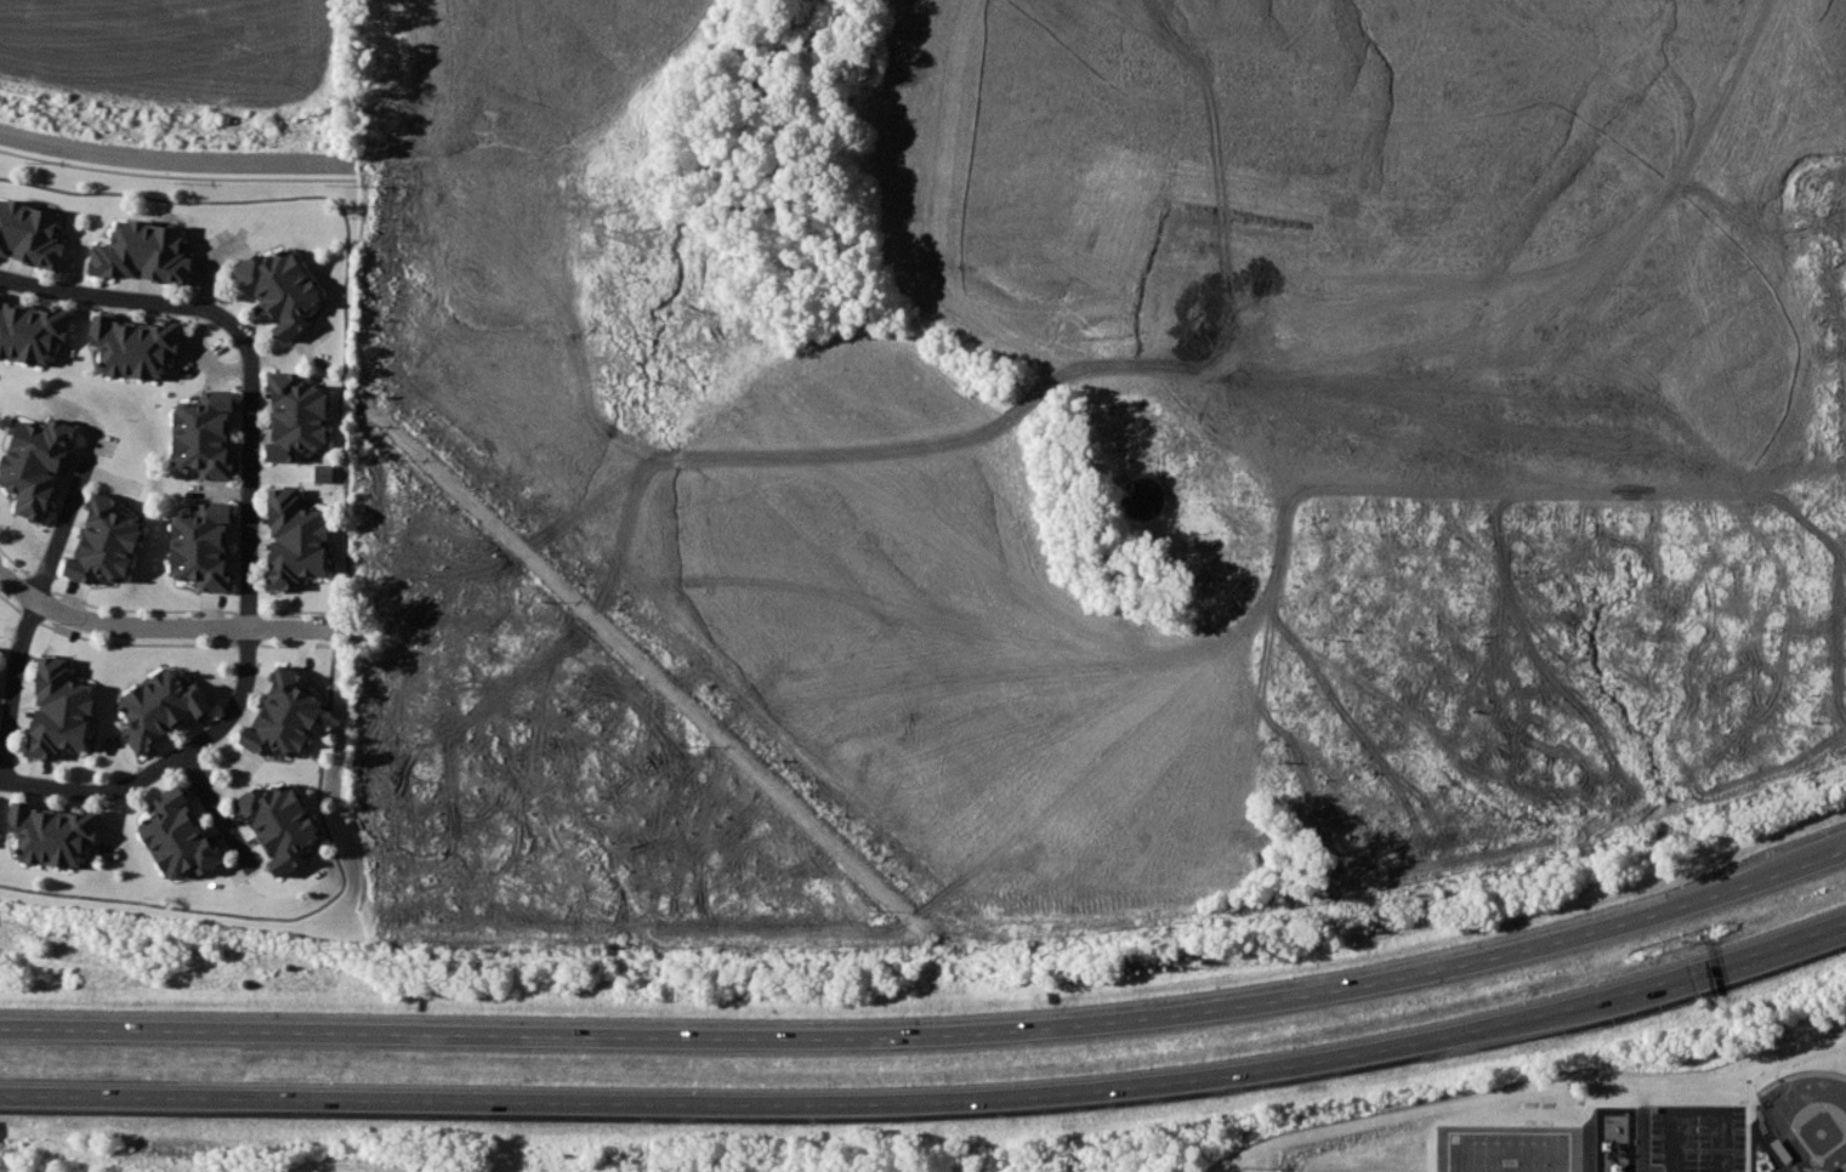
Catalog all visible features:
road: (172, 158)
road: (175, 175)
building: (29, 238)
building: (142, 256)
building: (280, 291)
building: (0, 297)
road: (123, 300)
building: (30, 334)
building: (131, 347)
building: (294, 419)
building: (201, 433)
building: (34, 463)
building: (323, 472)
building: (292, 541)
building: (102, 542)
building: (200, 544)
road: (249, 553)
road: (342, 553)
road: (25, 626)
road: (170, 627)
building: (160, 706)
building: (58, 712)
building: (283, 715)
road: (98, 793)
road: (225, 820)
building: (279, 825)
building: (52, 834)
building: (178, 837)
road: (1841, 926)
road: (933, 1039)
road: (1524, 1087)
road: (932, 1103)
park: (1808, 1116)
road: (1697, 1119)
road: (1746, 1120)
parking lot: (1698, 1138)
park: (1507, 1148)
road: (340, 1170)

